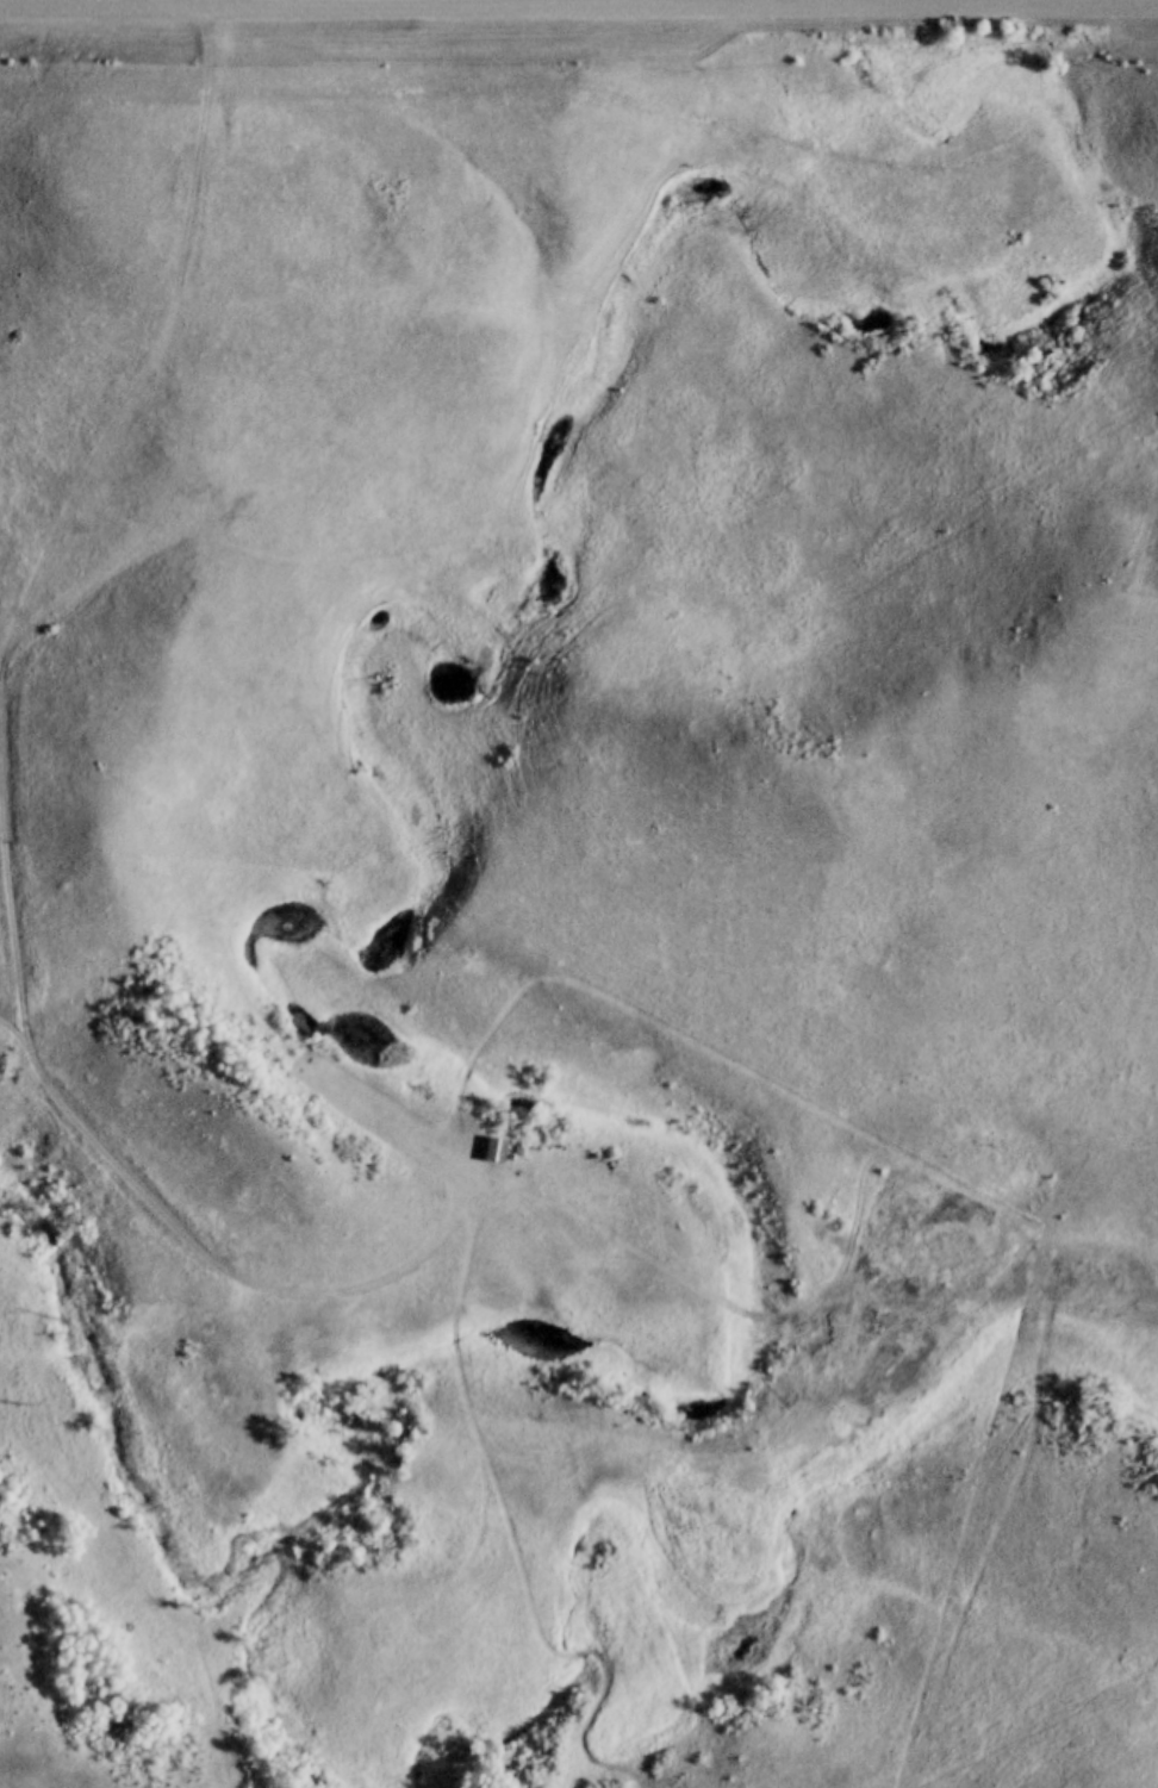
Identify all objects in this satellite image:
road: (579, 6)

